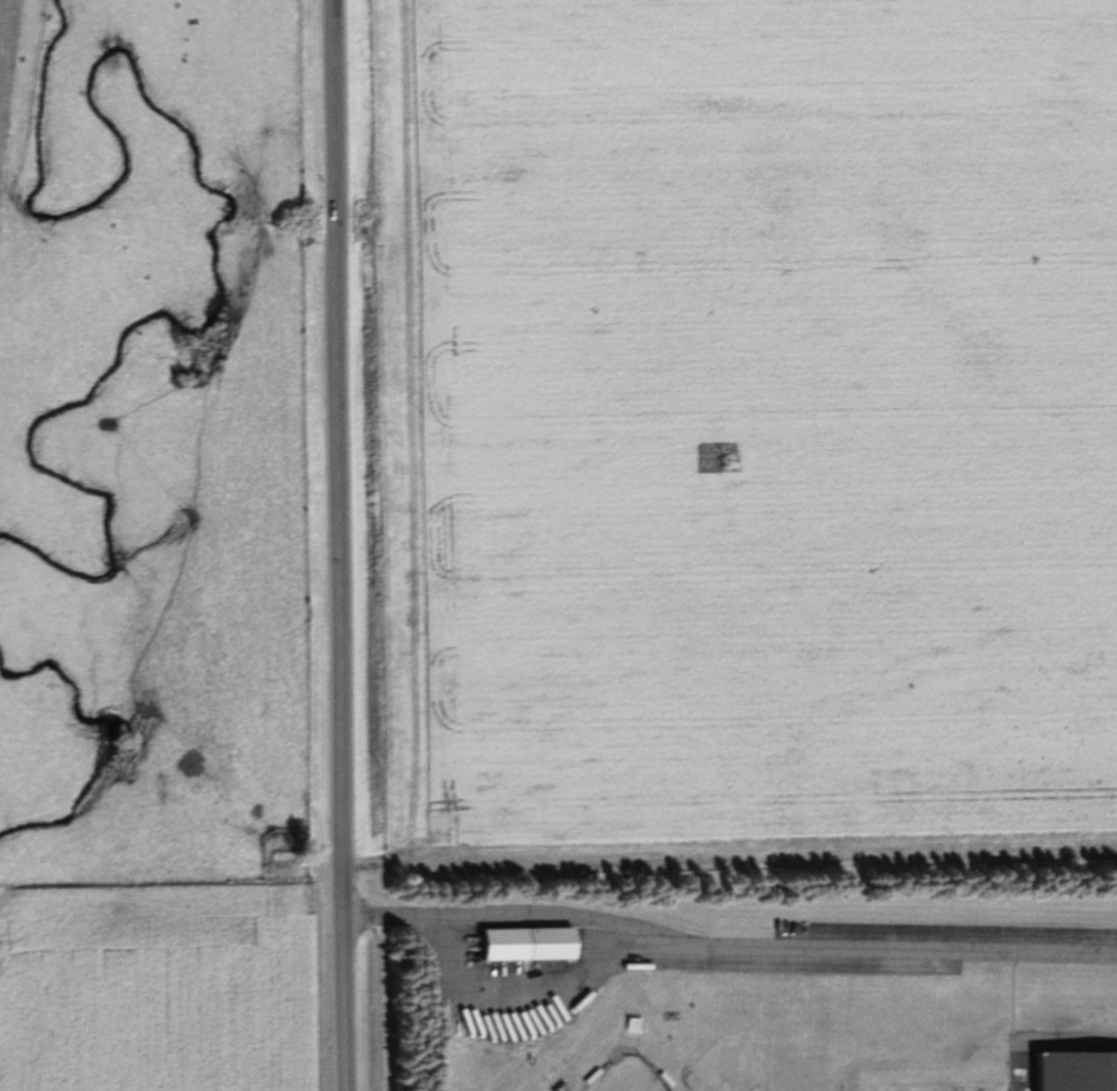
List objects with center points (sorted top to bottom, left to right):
road: (339, 545)
parking lot: (945, 933)
building: (532, 945)
road: (728, 950)
road: (1014, 998)
park: (632, 1064)
building: (1080, 1072)

